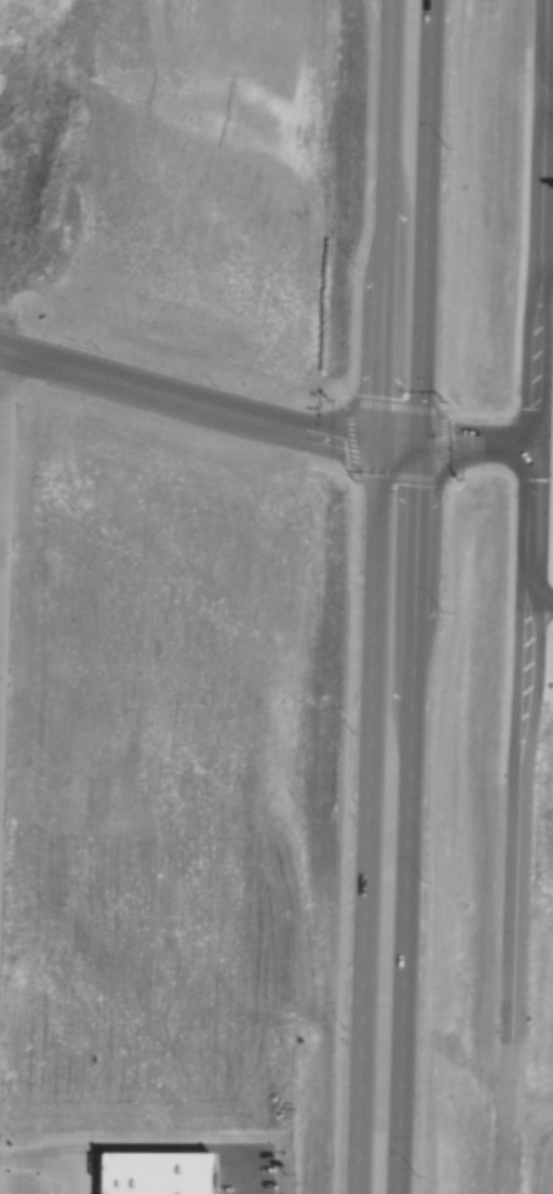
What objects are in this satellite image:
road: (549, 92)
road: (547, 263)
road: (1, 376)
road: (210, 397)
road: (478, 451)
road: (532, 524)
road: (415, 596)
road: (372, 597)
road: (541, 603)
road: (508, 1121)

